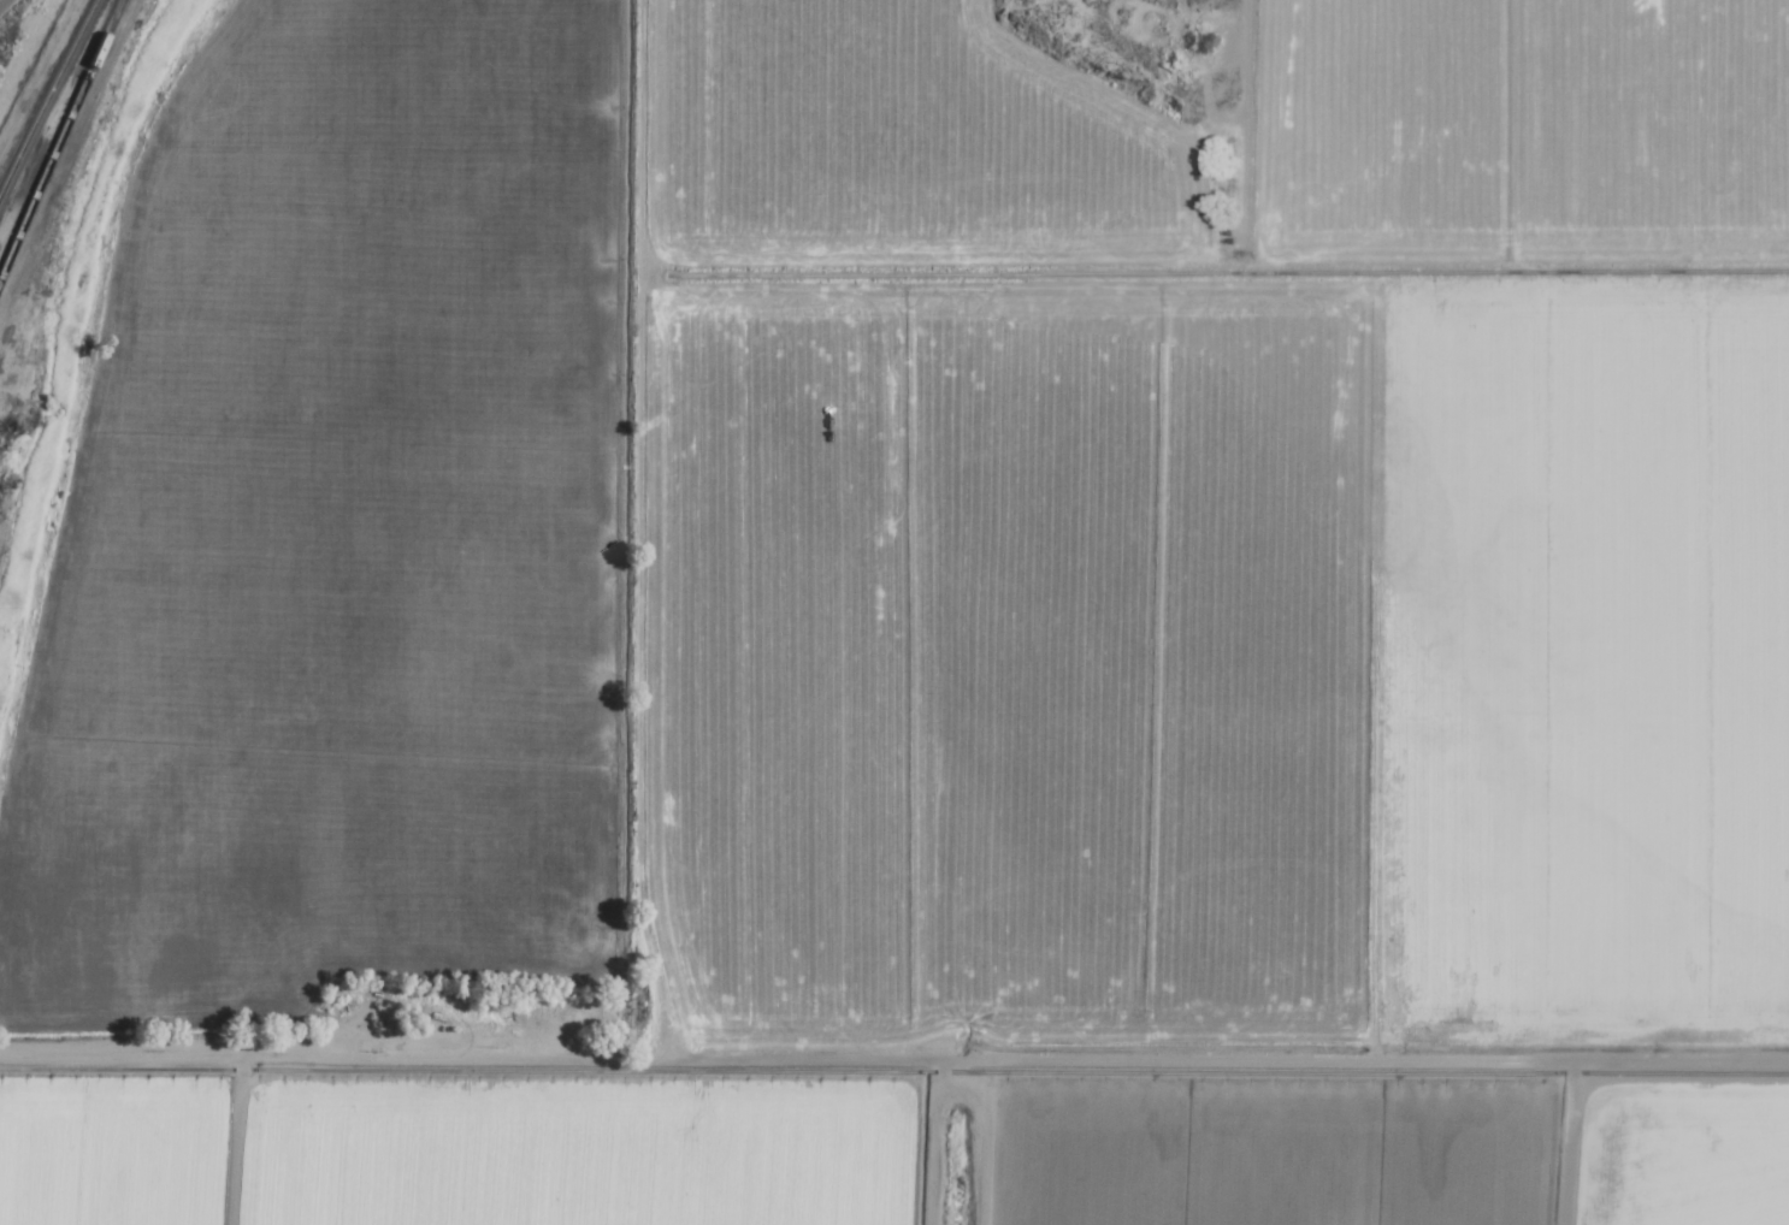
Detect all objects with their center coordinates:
road: (0, 0)
railway: (46, 94)
railway: (57, 134)
crop: (921, 625)

